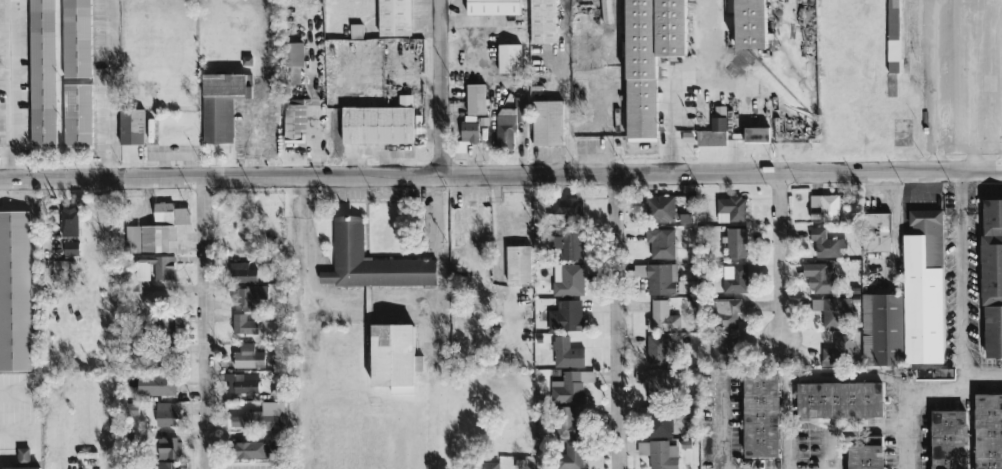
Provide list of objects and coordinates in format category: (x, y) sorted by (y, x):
building: (493, 7)
building: (395, 18)
building: (543, 21)
building: (751, 24)
building: (894, 36)
building: (77, 39)
building: (650, 57)
building: (509, 58)
building: (294, 63)
building: (43, 73)
road: (683, 84)
road: (932, 85)
road: (441, 87)
road: (110, 88)
road: (9, 89)
building: (476, 99)
building: (220, 105)
building: (78, 115)
building: (294, 123)
building: (509, 123)
building: (548, 123)
building: (379, 124)
building: (131, 127)
building: (469, 132)
building: (713, 134)
building: (757, 135)
road: (501, 174)
building: (567, 207)
building: (824, 207)
building: (662, 208)
building: (731, 209)
road: (436, 212)
building: (685, 218)
building: (69, 221)
building: (157, 231)
building: (876, 232)
building: (661, 243)
building: (736, 243)
building: (826, 244)
building: (570, 245)
building: (71, 249)
building: (993, 253)
road: (781, 255)
building: (371, 262)
building: (518, 264)
building: (156, 268)
building: (242, 273)
building: (820, 278)
building: (663, 279)
building: (734, 279)
road: (963, 279)
building: (568, 280)
building: (15, 292)
building: (253, 296)
building: (910, 302)
building: (833, 311)
building: (727, 313)
building: (566, 317)
building: (662, 318)
road: (617, 321)
road: (204, 322)
building: (165, 324)
building: (244, 325)
building: (994, 331)
building: (748, 341)
building: (657, 350)
building: (724, 351)
building: (838, 352)
building: (567, 354)
building: (248, 357)
building: (395, 358)
building: (935, 374)
road: (804, 377)
building: (240, 383)
building: (656, 383)
building: (156, 385)
building: (571, 387)
road: (917, 390)
building: (839, 400)
building: (167, 414)
building: (761, 414)
building: (261, 417)
building: (659, 421)
building: (570, 422)
road: (725, 424)
building: (989, 431)
building: (950, 439)
building: (168, 448)
building: (249, 450)
road: (825, 453)
building: (659, 454)
building: (23, 456)
building: (571, 456)
building: (867, 457)
building: (166, 465)
building: (489, 465)
building: (23, 468)

